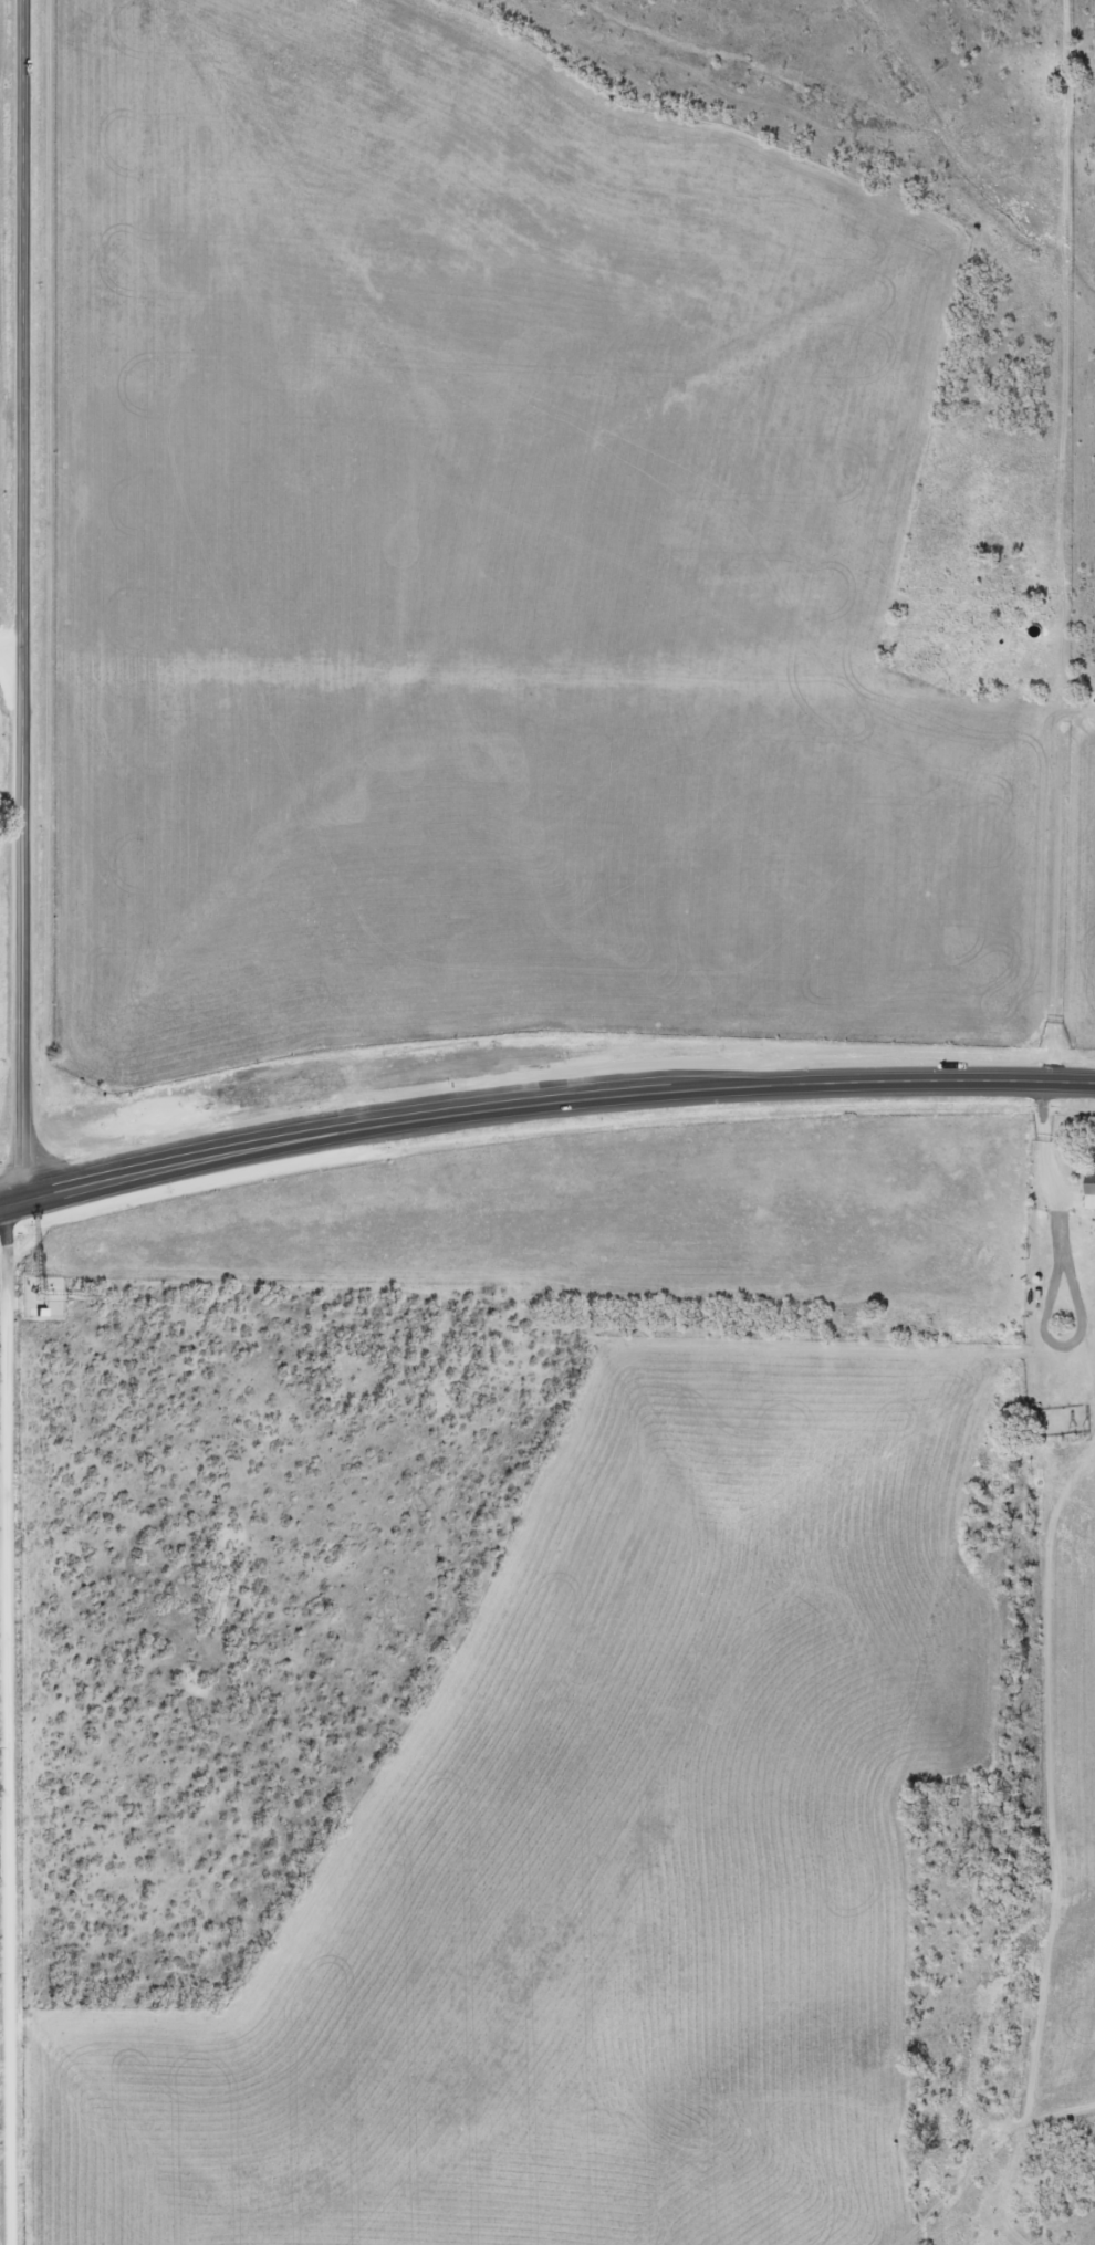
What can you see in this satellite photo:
road: (25, 598)
road: (12, 641)
road: (542, 1105)
building: (1093, 1190)
road: (21, 1722)

